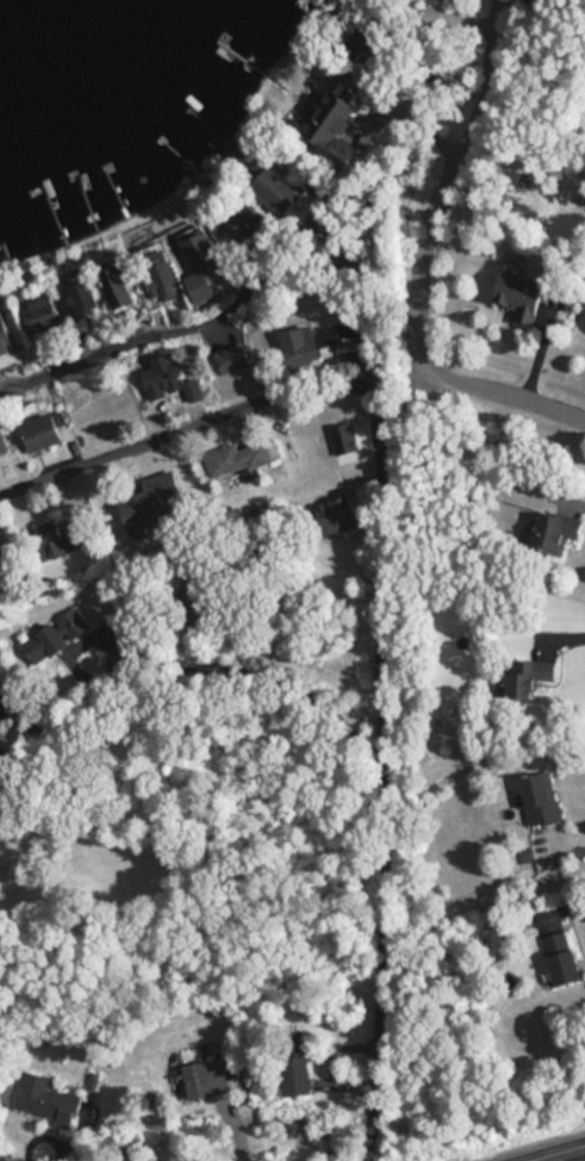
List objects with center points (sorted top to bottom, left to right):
building: (441, 0)
building: (351, 36)
building: (329, 125)
road: (452, 181)
building: (276, 182)
building: (244, 212)
building: (205, 257)
building: (160, 271)
building: (116, 281)
building: (522, 286)
building: (82, 291)
road: (385, 294)
building: (42, 313)
road: (212, 313)
building: (5, 335)
building: (304, 336)
road: (537, 349)
building: (231, 352)
building: (160, 373)
road: (483, 390)
building: (42, 424)
road: (187, 424)
building: (2, 439)
building: (236, 447)
building: (153, 491)
road: (571, 495)
building: (337, 507)
building: (550, 517)
building: (553, 533)
building: (54, 540)
building: (189, 608)
building: (56, 621)
road: (562, 633)
building: (45, 645)
road: (200, 656)
building: (524, 666)
road: (0, 757)
road: (386, 770)
building: (539, 789)
road: (567, 836)
road: (558, 905)
building: (560, 950)
road: (331, 1060)
building: (295, 1062)
building: (93, 1074)
building: (203, 1074)
building: (46, 1093)
road: (232, 1129)
road: (44, 1136)
road: (564, 1155)

